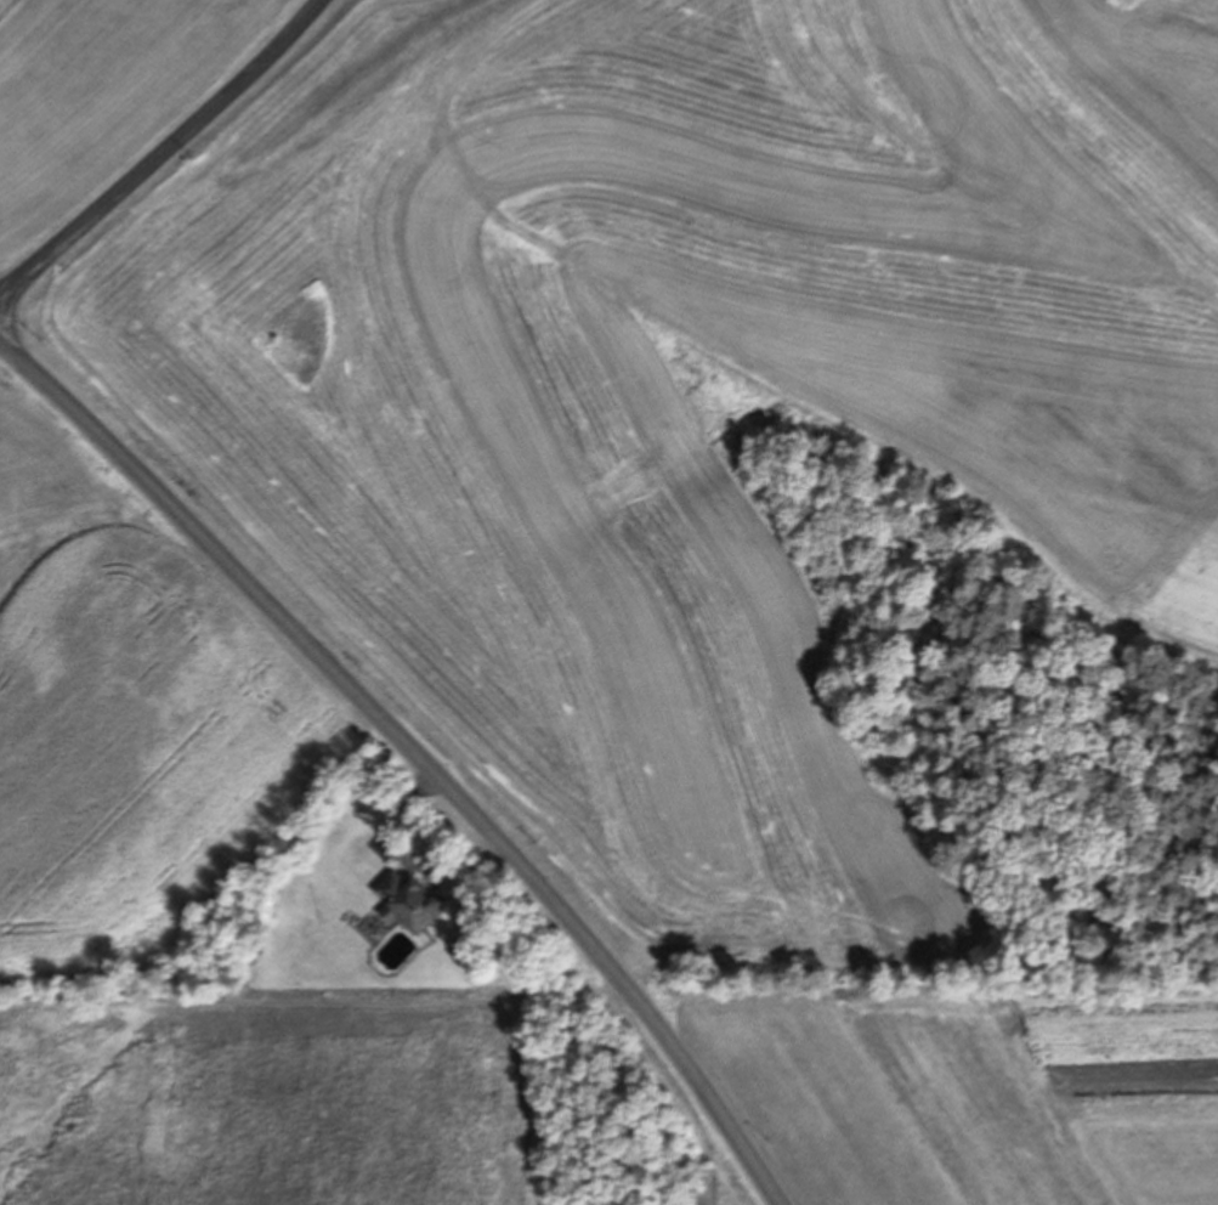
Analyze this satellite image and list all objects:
road: (162, 154)
park: (302, 329)
road: (417, 749)
road: (396, 822)
building: (409, 901)
road: (378, 1003)

